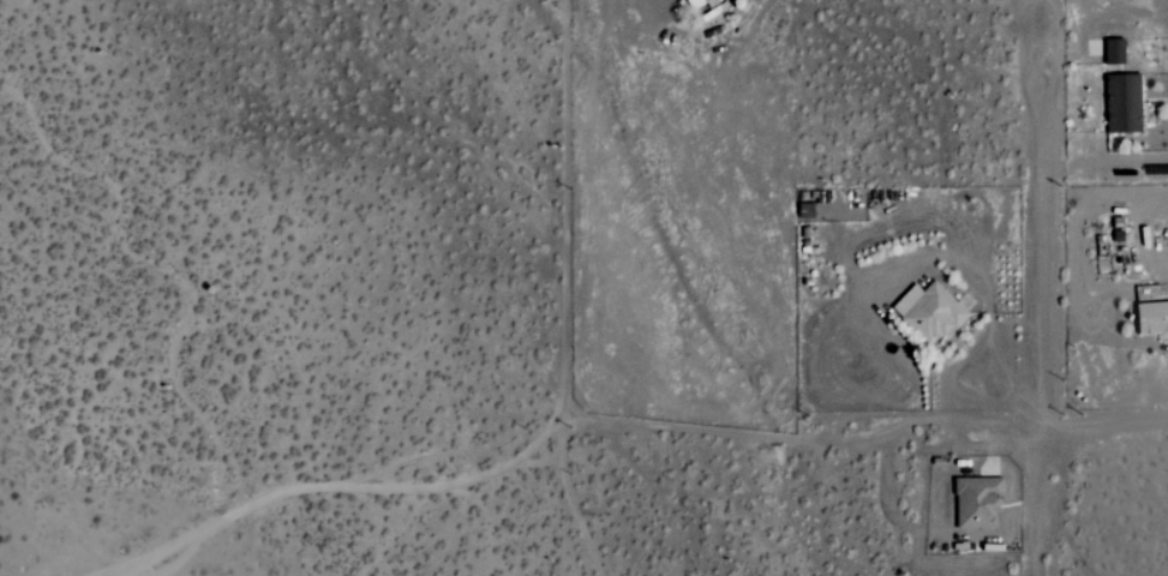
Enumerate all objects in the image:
building: (694, 2)
building: (1112, 50)
building: (1120, 103)
building: (926, 312)
building: (1150, 317)
road: (1048, 426)
building: (974, 502)

